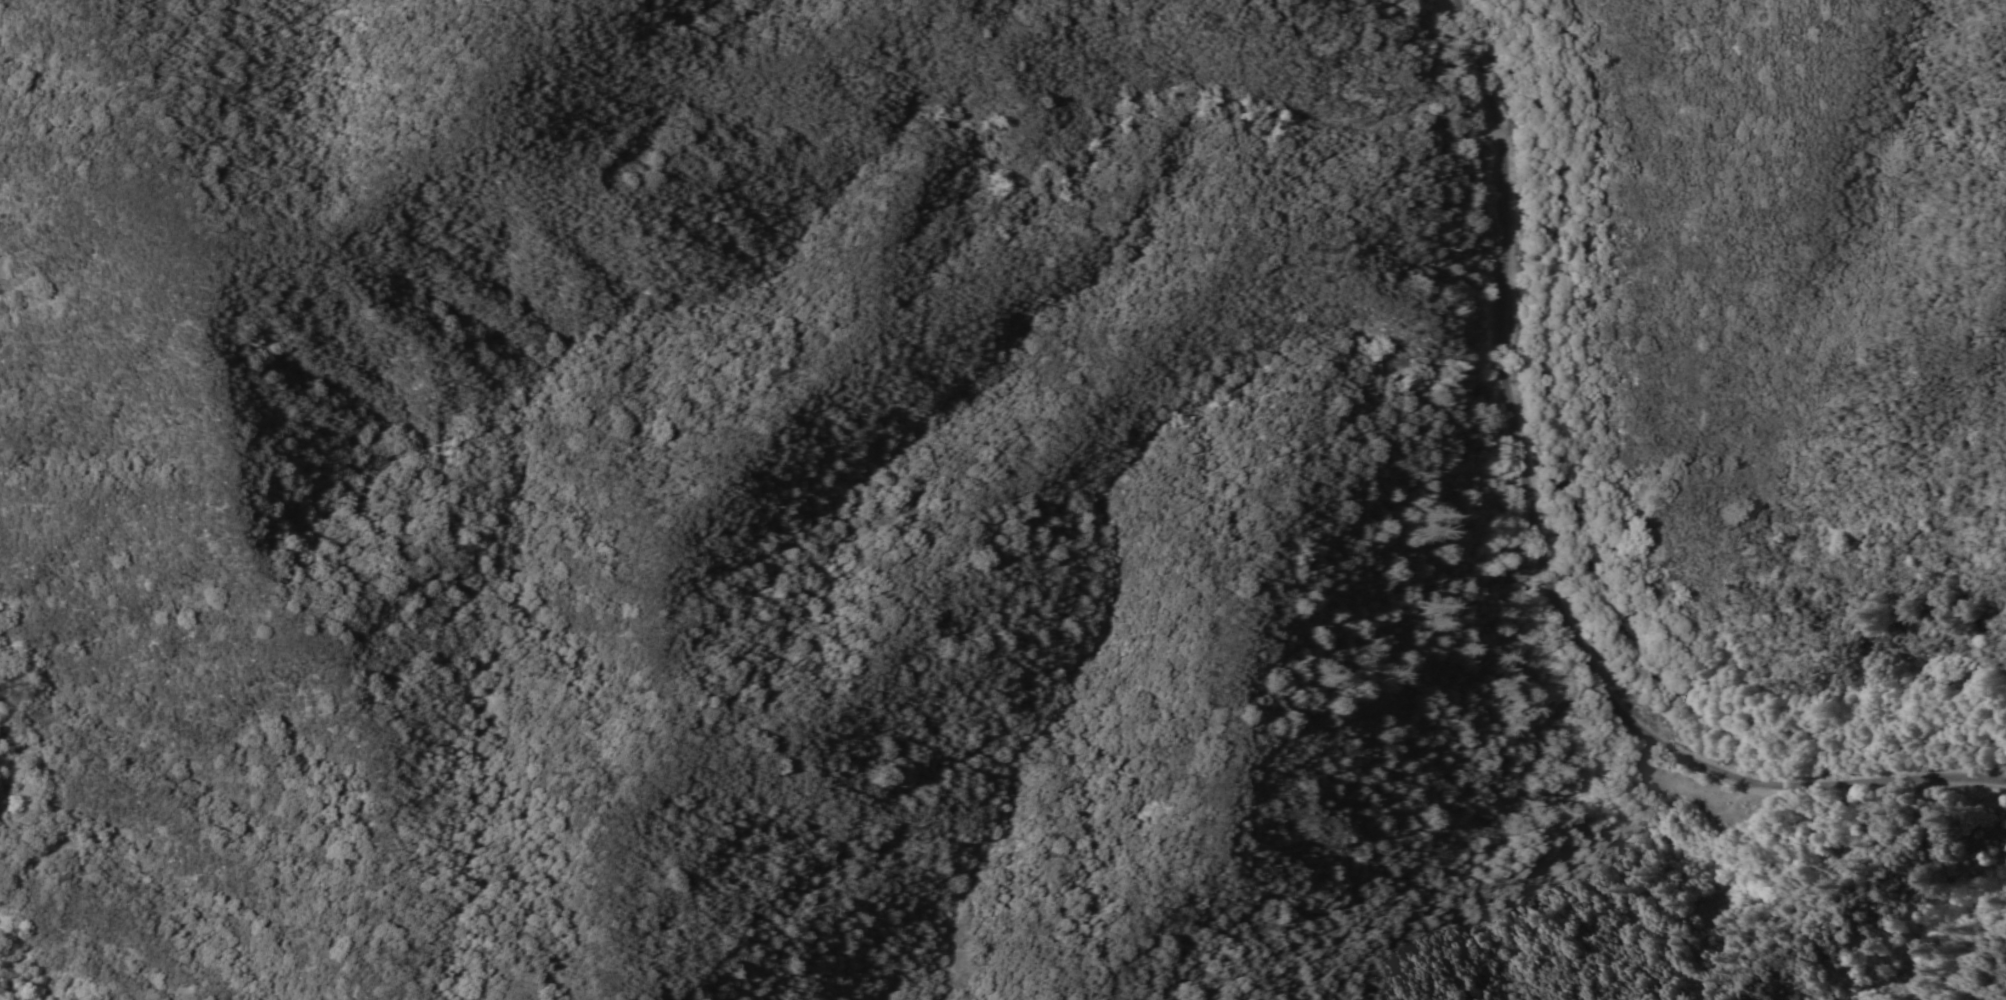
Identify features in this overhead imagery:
river: (1593, 520)
road: (1545, 561)

